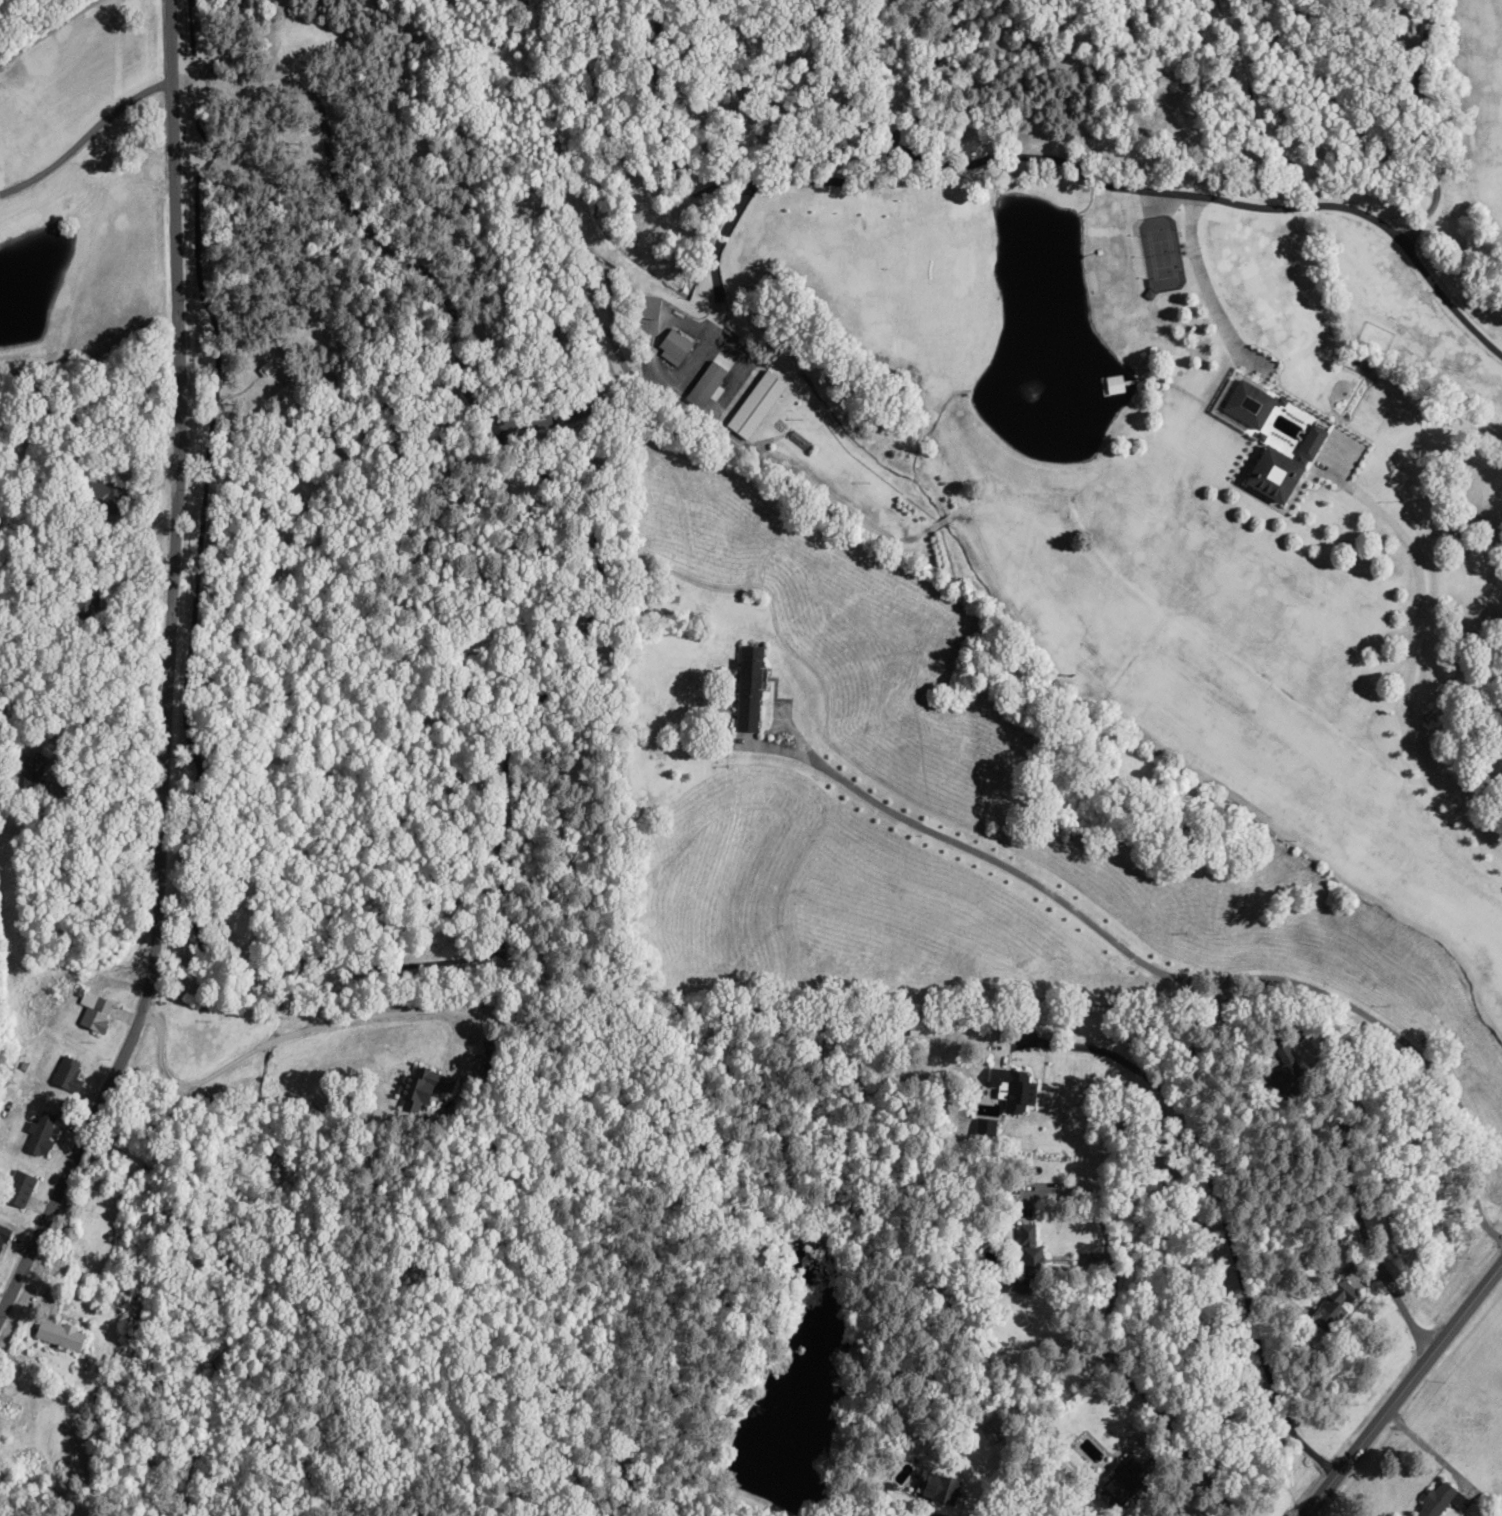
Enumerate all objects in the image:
building: (673, 346)
building: (708, 380)
building: (1109, 384)
building: (1244, 400)
building: (1270, 473)
building: (104, 491)
building: (666, 593)
building: (85, 606)
road: (175, 676)
building: (745, 688)
road: (1349, 703)
road: (1217, 963)
building: (92, 1012)
building: (1274, 1071)
building: (65, 1073)
building: (423, 1087)
building: (1011, 1090)
building: (39, 1135)
building: (16, 1189)
building: (3, 1235)
building: (1025, 1250)
building: (1330, 1305)
road: (1273, 1308)
building: (55, 1336)
road: (1408, 1397)
road: (912, 1400)
building: (1119, 1482)
building: (935, 1489)
building: (1438, 1499)
road: (759, 1506)

